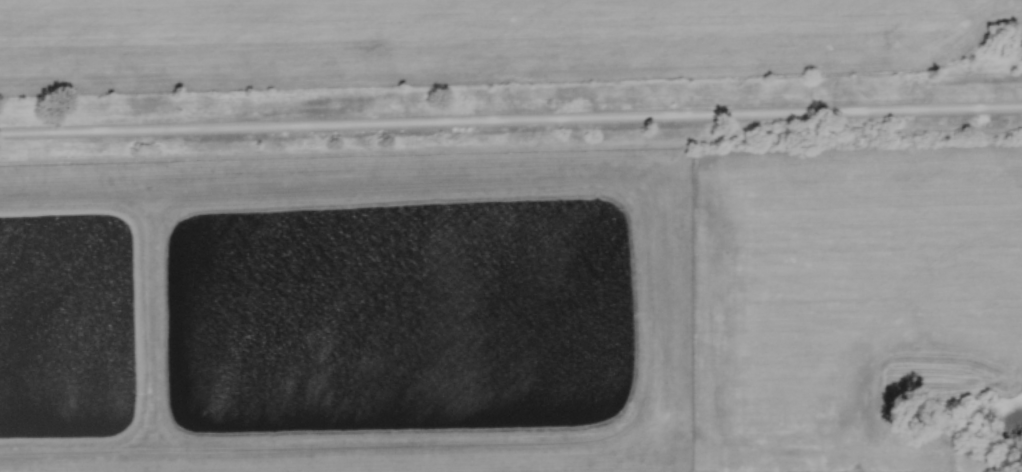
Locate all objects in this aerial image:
crop: (462, 41)
road: (511, 124)

